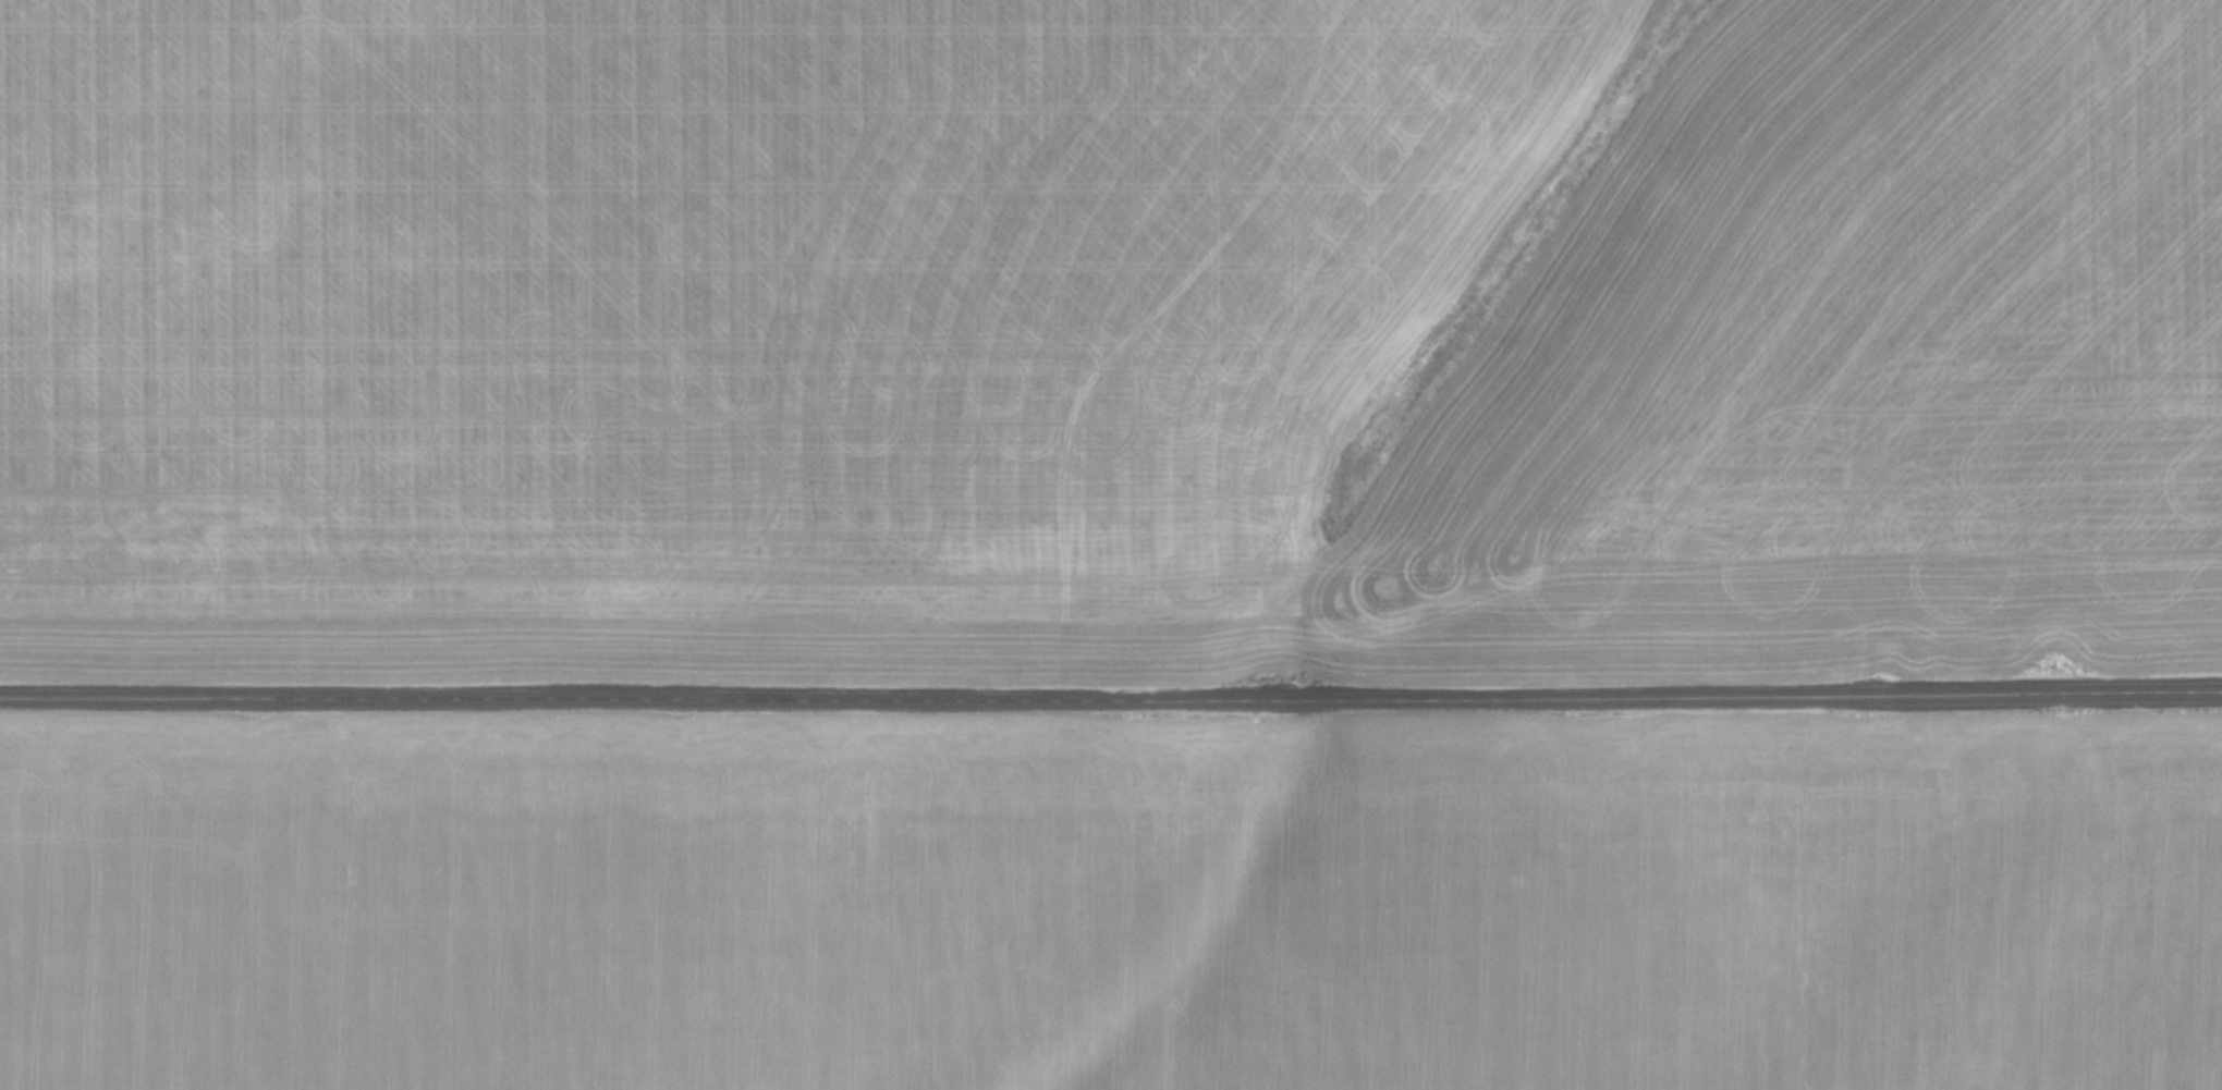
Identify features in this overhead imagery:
road: (1111, 698)

